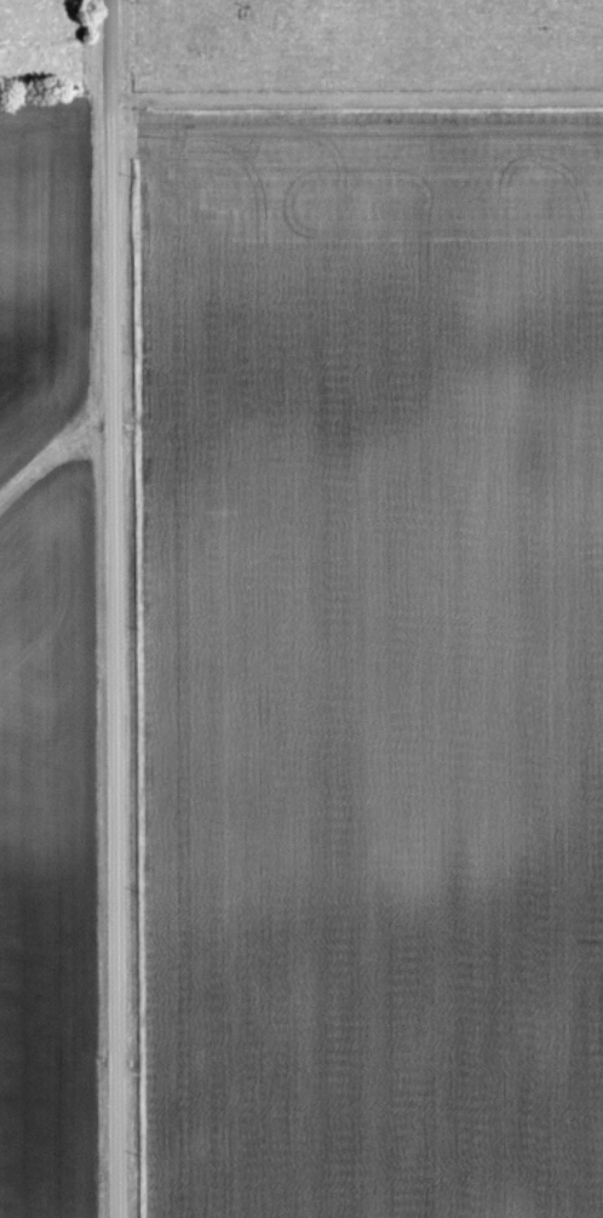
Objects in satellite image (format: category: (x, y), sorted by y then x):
road: (110, 608)

